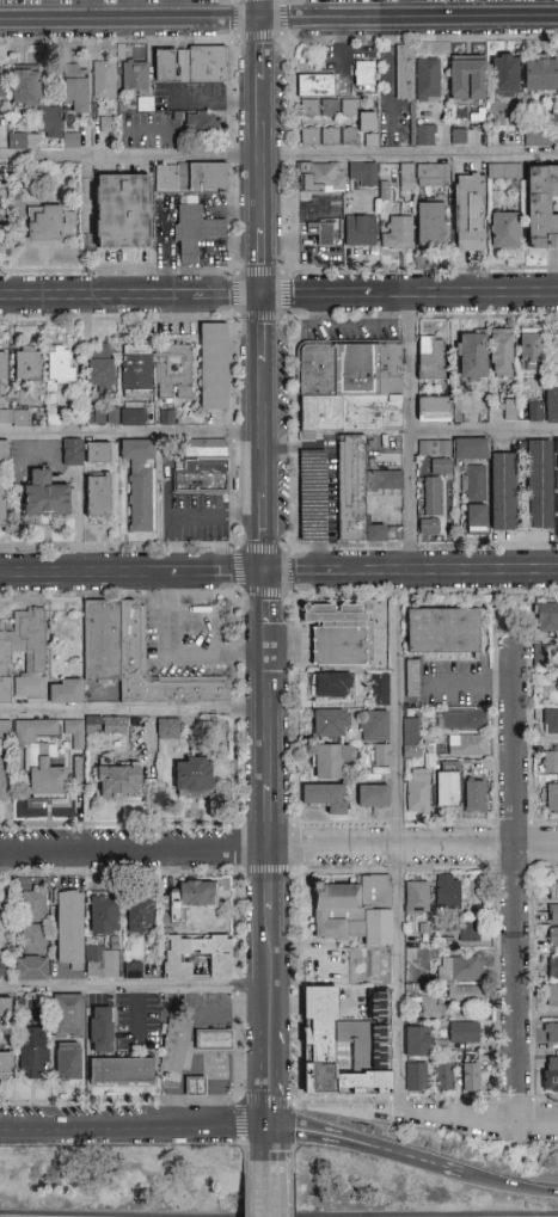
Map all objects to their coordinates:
road: (264, 10)
road: (405, 10)
road: (411, 18)
road: (133, 20)
building: (190, 64)
building: (405, 72)
building: (364, 74)
building: (540, 74)
building: (505, 75)
building: (135, 76)
building: (468, 78)
building: (104, 80)
building: (428, 80)
building: (1, 84)
building: (317, 85)
building: (75, 87)
building: (339, 111)
building: (49, 121)
building: (201, 122)
building: (106, 124)
building: (424, 135)
building: (455, 135)
building: (330, 136)
building: (539, 136)
building: (557, 137)
building: (69, 141)
road: (278, 156)
road: (265, 159)
building: (504, 171)
building: (363, 174)
building: (433, 174)
building: (406, 176)
building: (191, 177)
building: (321, 178)
building: (542, 208)
building: (470, 211)
building: (123, 213)
building: (49, 223)
building: (430, 223)
building: (195, 231)
building: (361, 231)
building: (504, 231)
building: (321, 233)
building: (398, 233)
road: (411, 295)
road: (133, 297)
building: (531, 350)
building: (502, 352)
building: (557, 354)
building: (473, 356)
building: (431, 358)
building: (27, 364)
building: (61, 365)
building: (214, 367)
building: (100, 369)
building: (136, 371)
building: (173, 371)
building: (2, 374)
building: (351, 387)
road: (266, 406)
building: (551, 406)
building: (434, 408)
building: (508, 411)
building: (470, 412)
building: (534, 412)
building: (116, 417)
building: (13, 418)
building: (54, 420)
road: (484, 432)
road: (133, 434)
road: (409, 434)
building: (471, 448)
building: (557, 449)
building: (4, 450)
building: (73, 451)
building: (99, 454)
building: (436, 455)
building: (556, 460)
road: (331, 477)
building: (203, 478)
building: (141, 481)
building: (474, 483)
building: (557, 484)
building: (540, 485)
building: (360, 490)
building: (307, 491)
building: (504, 492)
building: (44, 494)
building: (99, 496)
building: (557, 504)
building: (2, 506)
building: (430, 506)
road: (192, 515)
building: (476, 520)
building: (557, 528)
road: (269, 545)
road: (305, 572)
road: (449, 572)
road: (90, 573)
road: (226, 573)
road: (211, 611)
building: (547, 617)
building: (443, 631)
building: (341, 633)
parking lot: (180, 639)
building: (540, 654)
building: (134, 657)
road: (177, 658)
building: (35, 664)
building: (409, 677)
road: (470, 681)
building: (331, 684)
building: (380, 689)
building: (65, 692)
road: (135, 711)
road: (270, 711)
building: (465, 720)
building: (551, 721)
building: (103, 723)
building: (331, 723)
building: (375, 726)
building: (5, 729)
building: (168, 730)
building: (410, 733)
building: (74, 736)
building: (467, 745)
building: (382, 756)
building: (42, 760)
building: (331, 760)
building: (551, 761)
building: (116, 764)
building: (194, 777)
building: (5, 779)
building: (447, 789)
building: (417, 793)
building: (374, 795)
building: (474, 795)
building: (326, 797)
building: (552, 800)
road: (413, 849)
road: (135, 850)
road: (393, 867)
road: (515, 872)
building: (553, 890)
building: (448, 892)
building: (417, 898)
building: (189, 899)
building: (33, 905)
building: (354, 910)
building: (553, 914)
building: (104, 915)
building: (140, 915)
building: (70, 929)
building: (470, 932)
building: (553, 938)
building: (33, 939)
building: (102, 961)
building: (177, 966)
building: (31, 967)
building: (553, 967)
building: (2, 969)
building: (455, 969)
building: (133, 971)
road: (136, 990)
building: (466, 995)
building: (552, 996)
road: (272, 1004)
building: (6, 1008)
building: (433, 1009)
building: (68, 1015)
road: (237, 1015)
building: (100, 1029)
building: (464, 1033)
building: (551, 1033)
road: (211, 1040)
building: (213, 1040)
building: (418, 1041)
building: (345, 1045)
building: (174, 1046)
building: (33, 1052)
building: (68, 1062)
building: (6, 1063)
building: (122, 1071)
road: (241, 1071)
building: (471, 1071)
building: (444, 1075)
building: (551, 1075)
building: (416, 1078)
road: (171, 1084)
building: (195, 1087)
road: (211, 1089)
road: (476, 1123)
road: (135, 1129)
road: (367, 1148)
road: (509, 1187)
road: (272, 1190)

